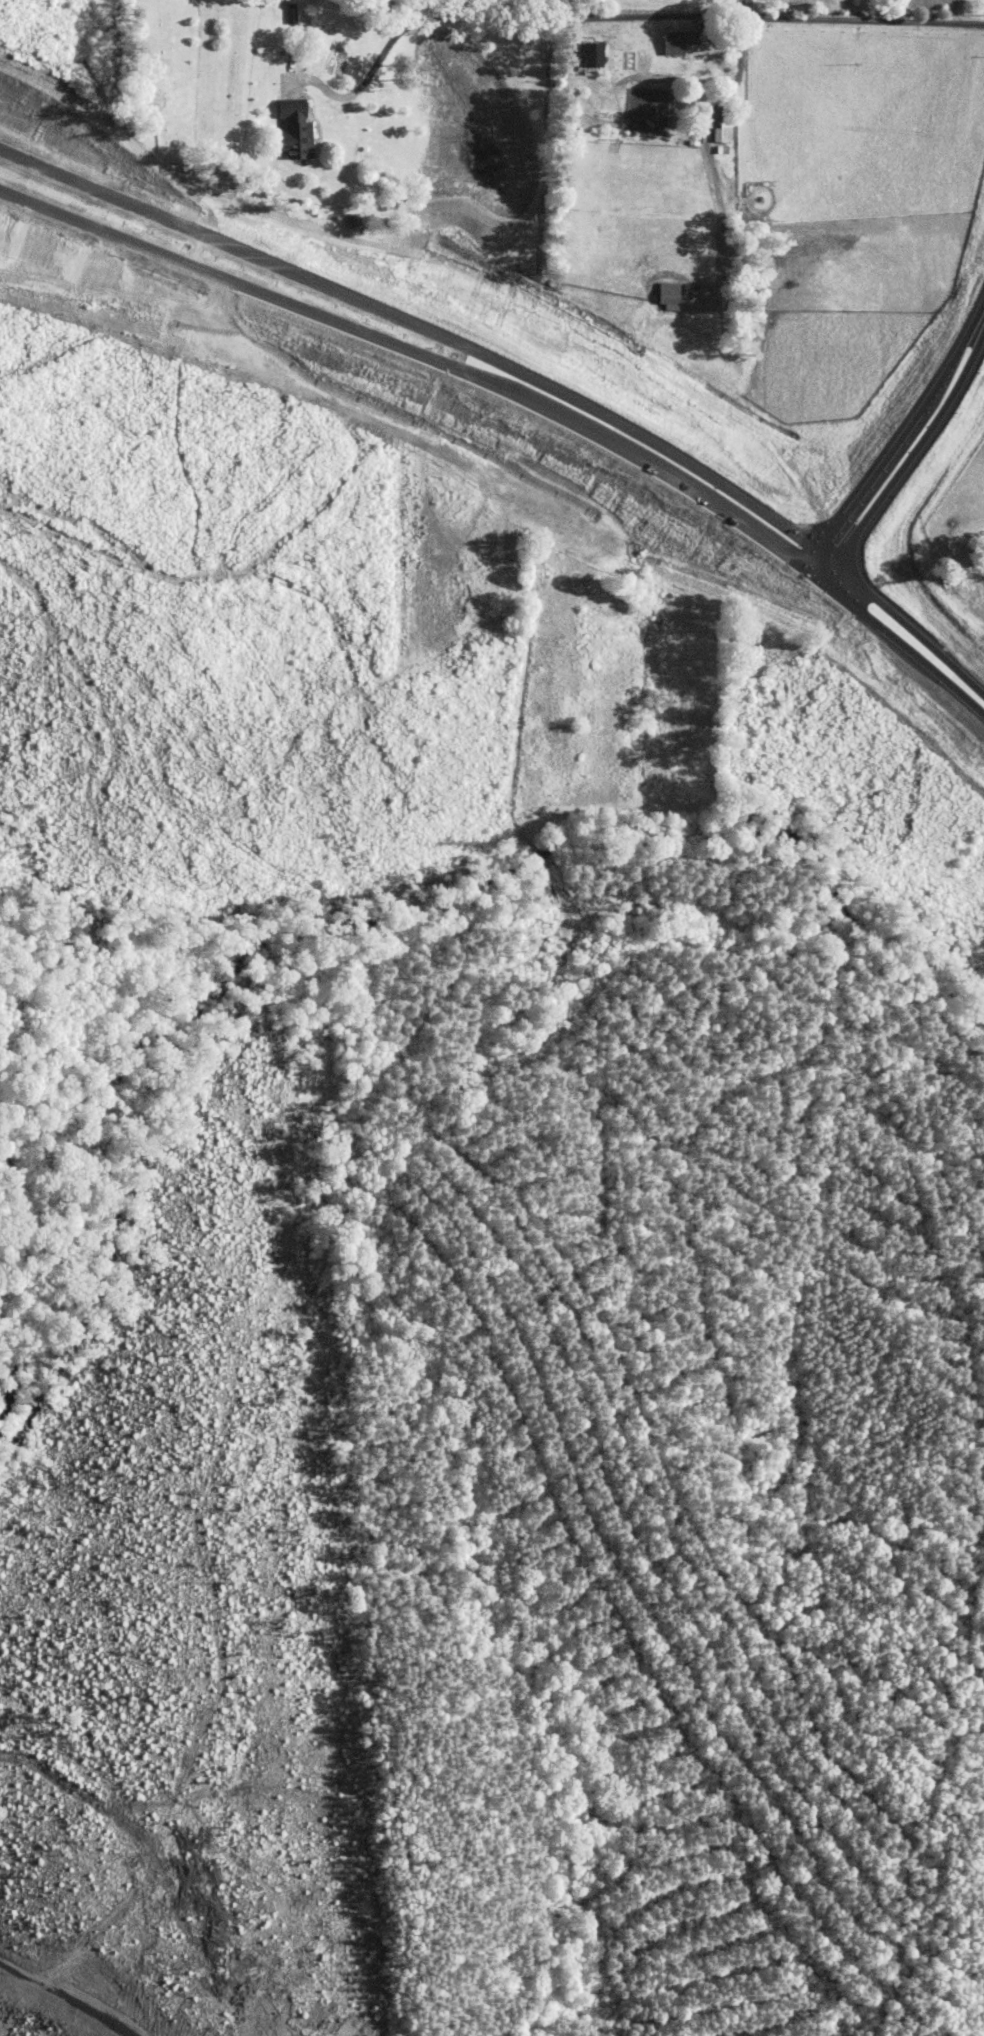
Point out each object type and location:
road: (744, 8)
building: (293, 13)
road: (619, 17)
building: (681, 40)
building: (598, 53)
building: (300, 126)
road: (681, 129)
building: (724, 129)
road: (255, 288)
building: (673, 296)
road: (418, 328)
road: (956, 352)
road: (915, 444)
road: (872, 473)
road: (664, 474)
road: (822, 556)
road: (813, 561)
road: (820, 566)
road: (908, 625)
road: (899, 638)

